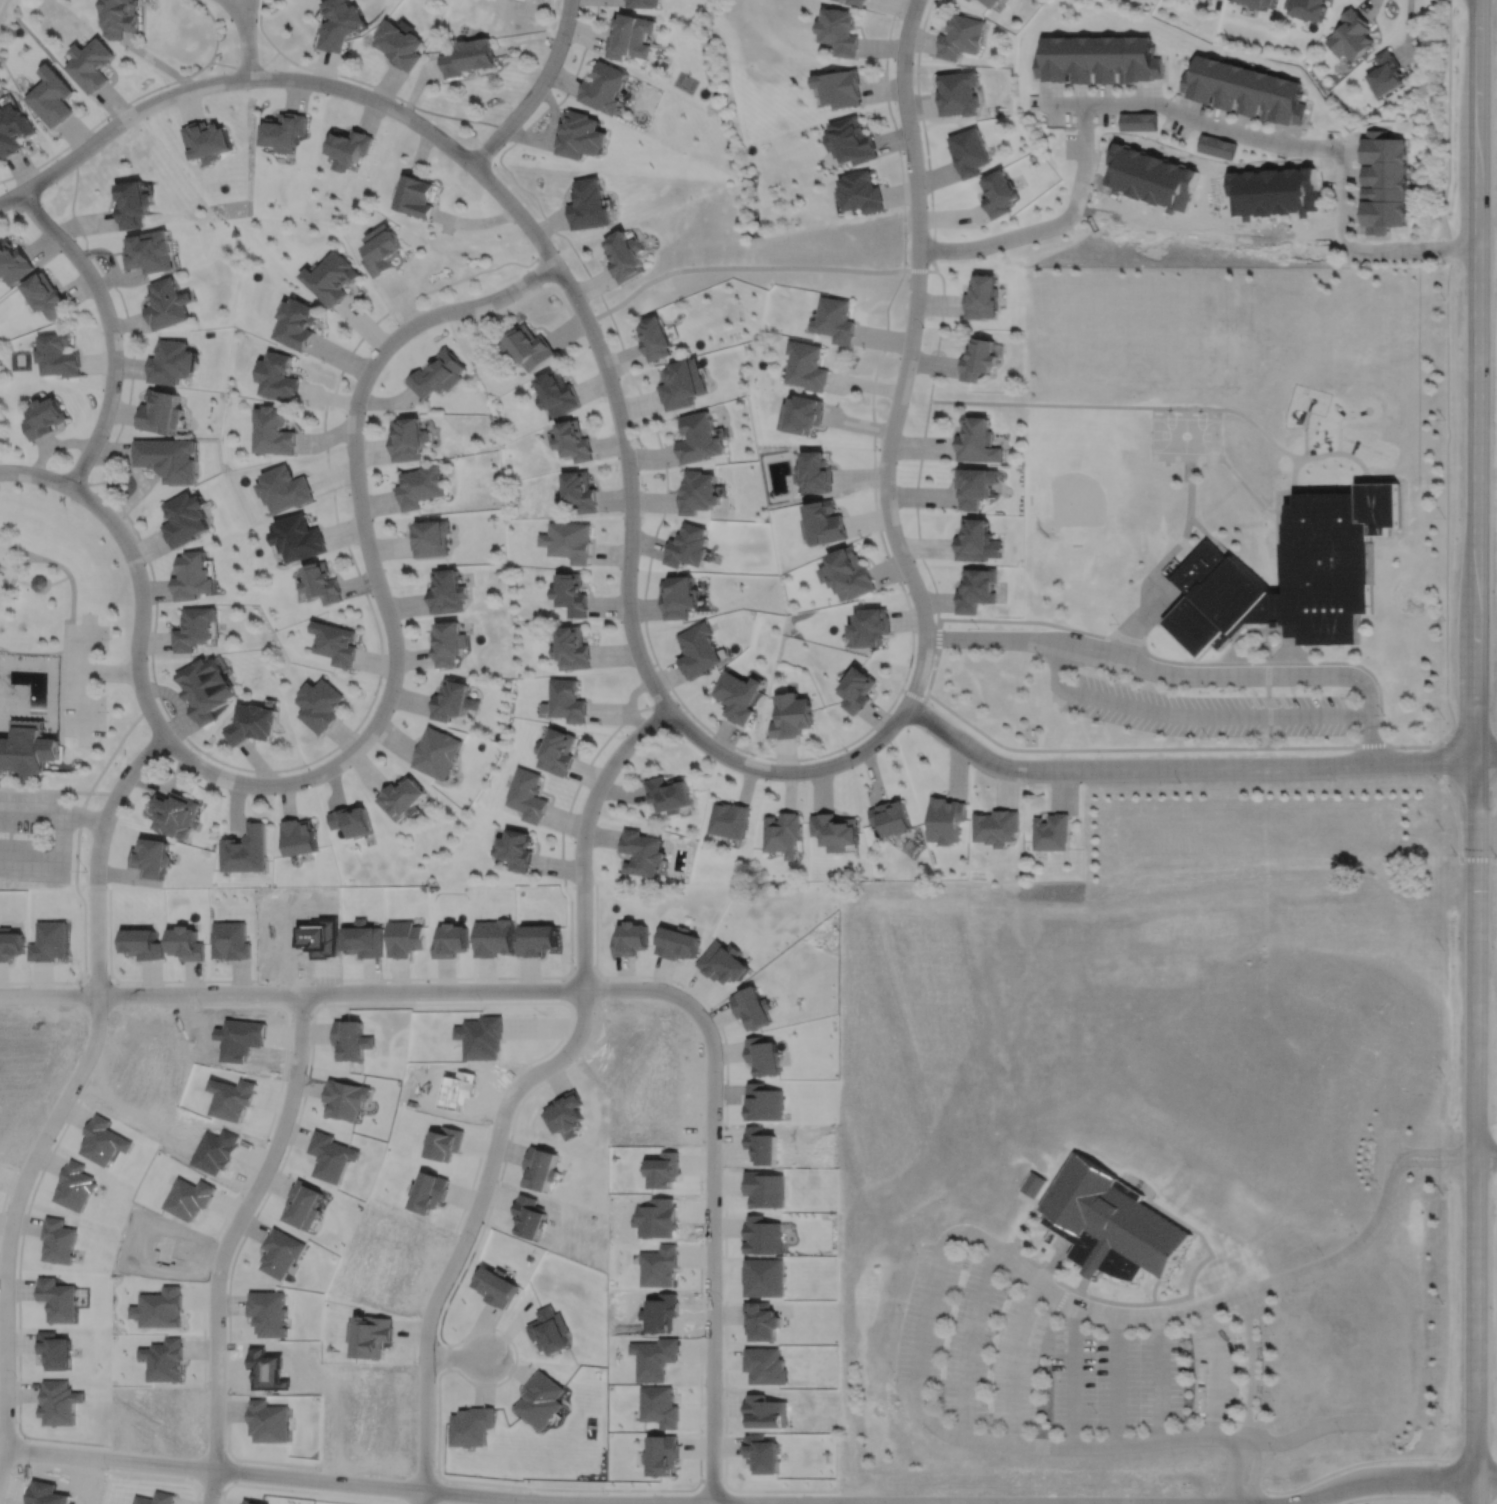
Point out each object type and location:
building: (865, 0)
building: (967, 0)
building: (969, 0)
building: (856, 2)
building: (987, 2)
building: (640, 3)
building: (1257, 3)
building: (1306, 9)
road: (239, 10)
building: (120, 17)
street lamp: (257, 17)
street lamp: (898, 18)
building: (337, 24)
road: (214, 27)
building: (839, 31)
building: (1351, 35)
building: (959, 36)
building: (630, 37)
street lamp: (570, 42)
road: (246, 45)
building: (398, 45)
road: (272, 56)
building: (468, 57)
building: (1097, 60)
building: (89, 65)
building: (1386, 74)
street lamp: (167, 85)
building: (840, 85)
building: (602, 88)
road: (535, 90)
building: (1245, 90)
street lamp: (324, 94)
building: (956, 94)
road: (397, 96)
building: (51, 97)
street lamp: (402, 102)
road: (1062, 103)
street lamp: (510, 106)
road: (103, 116)
road: (1189, 116)
street lamp: (106, 118)
building: (1138, 122)
street lamp: (919, 128)
building: (284, 129)
building: (12, 130)
road: (924, 135)
building: (577, 136)
building: (207, 138)
building: (853, 138)
building: (350, 142)
building: (1216, 146)
building: (967, 153)
street lamp: (465, 172)
building: (1385, 183)
street lamp: (5, 187)
building: (861, 190)
building: (416, 194)
building: (996, 195)
building: (132, 201)
building: (588, 202)
street lamp: (73, 237)
street lamp: (907, 239)
street lamp: (527, 241)
building: (383, 247)
building: (149, 249)
building: (624, 254)
building: (14, 260)
road: (825, 267)
building: (332, 276)
building: (47, 293)
building: (982, 295)
street lamp: (588, 300)
street lamp: (512, 301)
building: (167, 302)
building: (836, 318)
building: (298, 322)
street lamp: (395, 324)
street lamp: (922, 325)
road: (109, 328)
street lamp: (121, 336)
building: (655, 336)
park: (1142, 337)
building: (527, 346)
building: (59, 354)
building: (978, 357)
park: (18, 360)
building: (171, 361)
building: (808, 365)
building: (438, 373)
building: (278, 375)
building: (683, 383)
building: (557, 392)
street lamp: (604, 399)
road: (1010, 402)
street lamp: (364, 409)
building: (161, 411)
building: (803, 413)
building: (46, 416)
building: (273, 430)
road: (1304, 432)
street lamp: (107, 434)
park: (1184, 434)
building: (699, 437)
building: (407, 438)
building: (977, 439)
building: (574, 440)
street lamp: (877, 447)
road: (1329, 452)
building: (168, 457)
street lamp: (54, 468)
street lamp: (637, 469)
building: (816, 471)
road: (95, 481)
building: (419, 485)
building: (975, 485)
road: (1245, 485)
park: (1086, 486)
building: (285, 488)
road: (1332, 490)
building: (581, 491)
building: (698, 492)
street lamp: (348, 494)
building: (185, 518)
building: (825, 523)
road: (1187, 526)
road: (1209, 534)
building: (299, 537)
building: (430, 537)
building: (974, 539)
building: (569, 541)
building: (688, 546)
road: (26, 559)
street lamp: (914, 559)
street lamp: (145, 563)
road: (15, 564)
road: (42, 574)
building: (850, 574)
building: (1294, 574)
building: (193, 576)
building: (39, 582)
building: (324, 583)
building: (977, 589)
road: (38, 591)
building: (446, 592)
building: (572, 593)
street lamp: (370, 594)
building: (679, 597)
road: (1162, 617)
road: (1125, 618)
road: (65, 619)
road: (1138, 619)
street lamp: (619, 620)
street lamp: (1117, 622)
street lamp: (977, 627)
building: (194, 628)
building: (872, 628)
road: (1242, 638)
road: (1284, 640)
building: (337, 643)
building: (448, 644)
building: (572, 649)
building: (699, 650)
road: (638, 652)
street lamp: (1040, 656)
street lamp: (148, 659)
road: (1446, 662)
street lamp: (911, 665)
road: (84, 670)
road: (1183, 674)
street lamp: (1119, 676)
parking lot: (83, 679)
park: (59, 683)
street lamp: (381, 683)
road: (1267, 685)
building: (206, 689)
building: (858, 690)
street lamp: (1207, 690)
street lamp: (1312, 690)
building: (739, 697)
building: (451, 700)
building: (567, 701)
road: (82, 703)
street lamp: (677, 703)
building: (320, 705)
street lamp: (932, 705)
parking lot: (1211, 710)
street lamp: (1384, 713)
road: (1191, 714)
building: (793, 716)
street lamp: (1102, 722)
building: (252, 724)
road: (370, 729)
street lamp: (622, 735)
street lamp: (1313, 737)
street lamp: (1207, 738)
street lamp: (844, 748)
road: (1112, 748)
building: (28, 749)
street lamp: (1404, 749)
road: (748, 751)
road: (1476, 751)
building: (556, 752)
street lamp: (198, 753)
building: (436, 753)
street lamp: (1255, 754)
street lamp: (752, 755)
street lamp: (1102, 755)
street lamp: (151, 766)
street lamp: (307, 767)
road: (1192, 767)
road: (585, 768)
road: (276, 769)
street lamp: (1333, 778)
street lamp: (1024, 781)
street lamp: (1179, 781)
road: (29, 784)
road: (91, 786)
road: (58, 789)
building: (668, 791)
building: (527, 796)
building: (401, 799)
road: (53, 811)
building: (174, 815)
building: (889, 815)
road: (1455, 815)
building: (728, 817)
building: (944, 817)
road: (9, 822)
building: (351, 822)
building: (995, 824)
building: (834, 828)
building: (1051, 830)
building: (781, 831)
road: (583, 832)
parking lot: (61, 835)
building: (298, 838)
street lamp: (573, 841)
building: (641, 850)
building: (244, 851)
building: (516, 851)
road: (54, 859)
building: (151, 859)
building: (628, 936)
building: (362, 938)
building: (451, 938)
building: (228, 939)
building: (675, 940)
building: (183, 941)
street lamp: (572, 960)
building: (723, 961)
road: (656, 976)
street lamp: (384, 980)
street lamp: (681, 986)
road: (340, 991)
street lamp: (479, 999)
street lamp: (198, 1002)
building: (750, 1006)
street lamp: (310, 1018)
building: (762, 1054)
street lamp: (570, 1060)
street lamp: (722, 1077)
road: (64, 1095)
building: (345, 1097)
building: (763, 1101)
building: (565, 1111)
building: (330, 1156)
road: (1486, 1156)
building: (540, 1167)
building: (1032, 1183)
road: (1137, 1184)
building: (765, 1188)
building: (428, 1191)
building: (189, 1197)
road: (1027, 1197)
road: (1143, 1199)
building: (302, 1204)
road: (1038, 1211)
building: (1109, 1222)
road: (467, 1231)
building: (762, 1235)
road: (225, 1241)
road: (712, 1243)
road: (942, 1243)
building: (280, 1252)
road: (1026, 1255)
road: (1050, 1263)
building: (658, 1265)
road: (1081, 1283)
building: (494, 1286)
road: (1189, 1287)
road: (1153, 1288)
building: (159, 1305)
building: (267, 1313)
parking lot: (926, 1315)
building: (761, 1320)
building: (549, 1330)
building: (369, 1334)
road: (968, 1341)
parking lot: (971, 1342)
road: (455, 1356)
building: (163, 1357)
building: (655, 1357)
road: (1013, 1363)
road: (1265, 1365)
parking lot: (1214, 1370)
road: (1214, 1370)
parking lot: (1083, 1374)
road: (1074, 1377)
road: (1160, 1378)
road: (1117, 1381)
road: (1249, 1399)
building: (539, 1400)
building: (658, 1405)
building: (269, 1419)
building: (470, 1426)
building: (661, 1452)
building: (761, 1452)
road: (1416, 1457)
road: (1254, 1473)
building: (254, 1501)
road: (751, 1502)
road: (813, 1503)
road: (1038, 1503)

